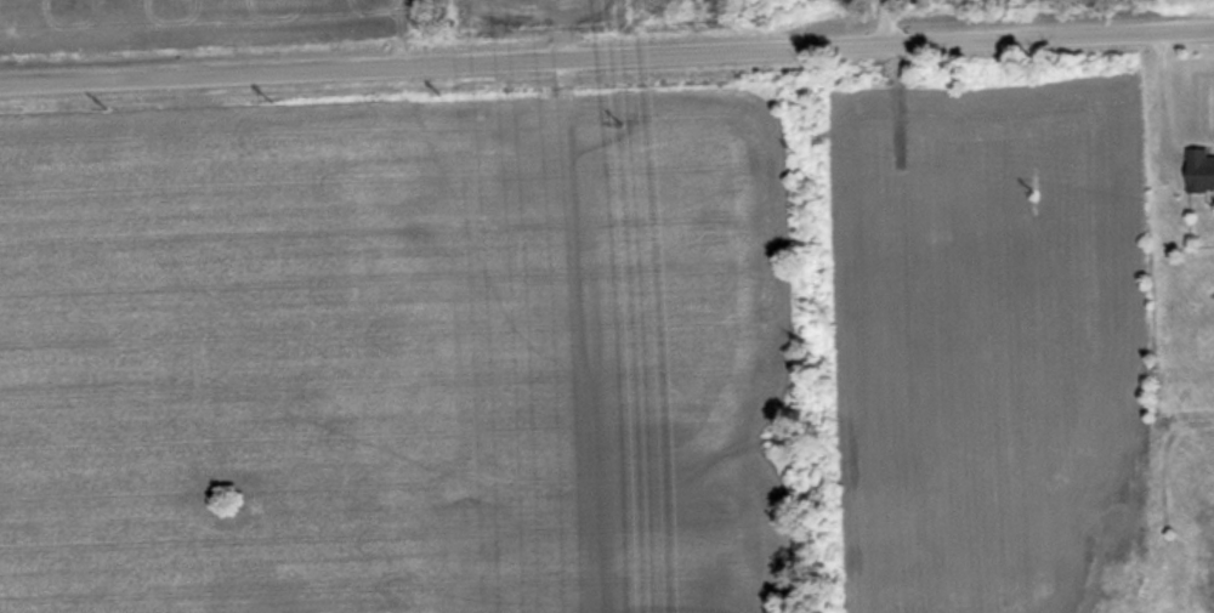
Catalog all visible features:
power tower: (532, 0)
road: (884, 21)
road: (606, 55)
building: (1198, 169)

